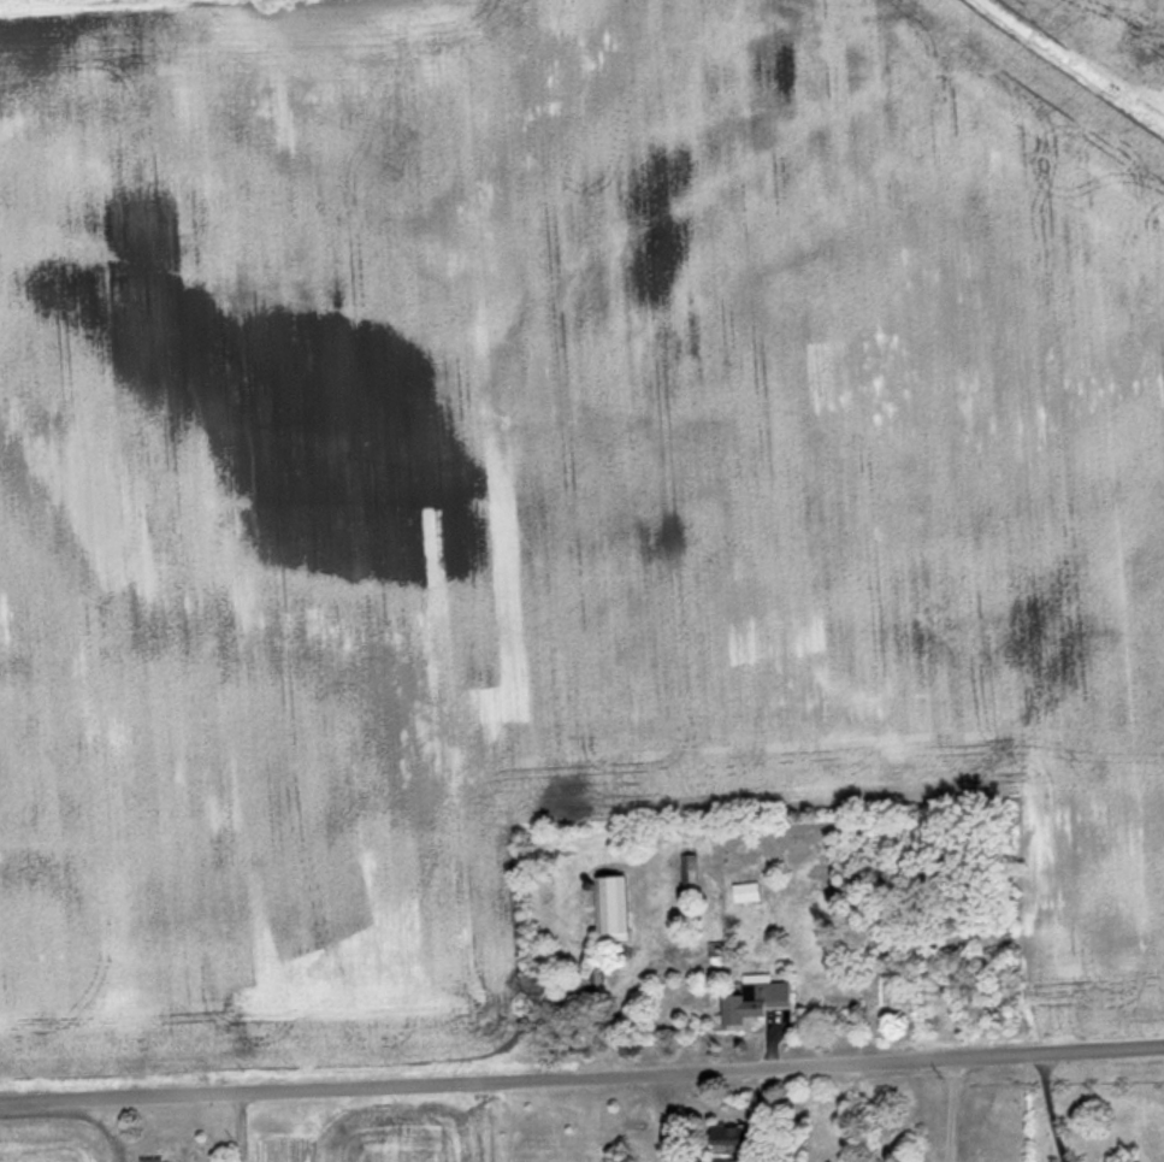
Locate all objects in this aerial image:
building: (685, 878)
building: (741, 892)
building: (605, 909)
building: (749, 1005)
road: (581, 1072)
road: (1047, 1107)
road: (946, 1108)
road: (758, 1113)
building: (721, 1136)
building: (722, 1161)

